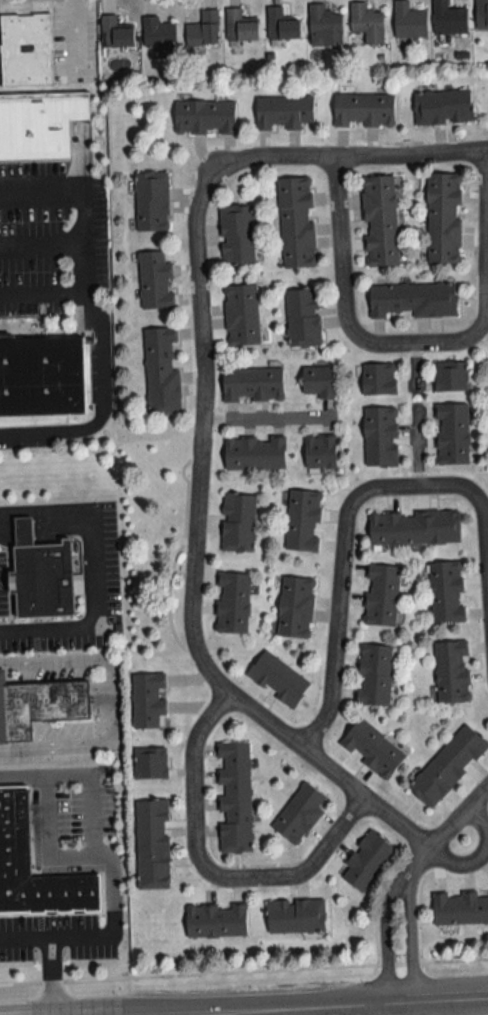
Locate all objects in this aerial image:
building: (481, 14)
building: (449, 19)
building: (409, 21)
building: (367, 23)
building: (282, 25)
building: (324, 26)
building: (240, 27)
building: (204, 29)
building: (116, 34)
building: (160, 37)
building: (26, 50)
building: (443, 108)
building: (364, 110)
building: (283, 112)
building: (205, 117)
building: (39, 122)
road: (41, 183)
building: (152, 201)
building: (444, 218)
building: (380, 221)
building: (297, 223)
building: (237, 235)
road: (43, 243)
building: (156, 281)
road: (44, 294)
building: (414, 300)
road: (96, 310)
building: (242, 315)
building: (304, 318)
road: (198, 340)
road: (416, 345)
road: (416, 363)
building: (162, 371)
building: (41, 373)
building: (451, 375)
building: (379, 378)
building: (318, 382)
building: (253, 384)
road: (260, 415)
road: (39, 430)
building: (453, 433)
building: (381, 436)
road: (419, 449)
building: (321, 451)
building: (255, 453)
road: (364, 496)
building: (303, 519)
building: (238, 521)
building: (415, 527)
road: (91, 566)
building: (43, 580)
building: (447, 591)
building: (381, 595)
building: (232, 602)
building: (296, 606)
building: (452, 670)
building: (374, 674)
building: (278, 678)
road: (113, 698)
building: (148, 699)
building: (38, 705)
building: (373, 748)
building: (150, 762)
building: (449, 765)
building: (234, 796)
road: (360, 799)
building: (299, 813)
building: (14, 829)
road: (444, 832)
road: (96, 840)
road: (50, 841)
building: (152, 843)
road: (477, 854)
building: (366, 860)
road: (204, 875)
road: (400, 884)
building: (460, 908)
building: (296, 916)
building: (216, 920)
road: (26, 934)
road: (53, 974)
road: (335, 1007)
road: (410, 1009)
road: (394, 1010)

